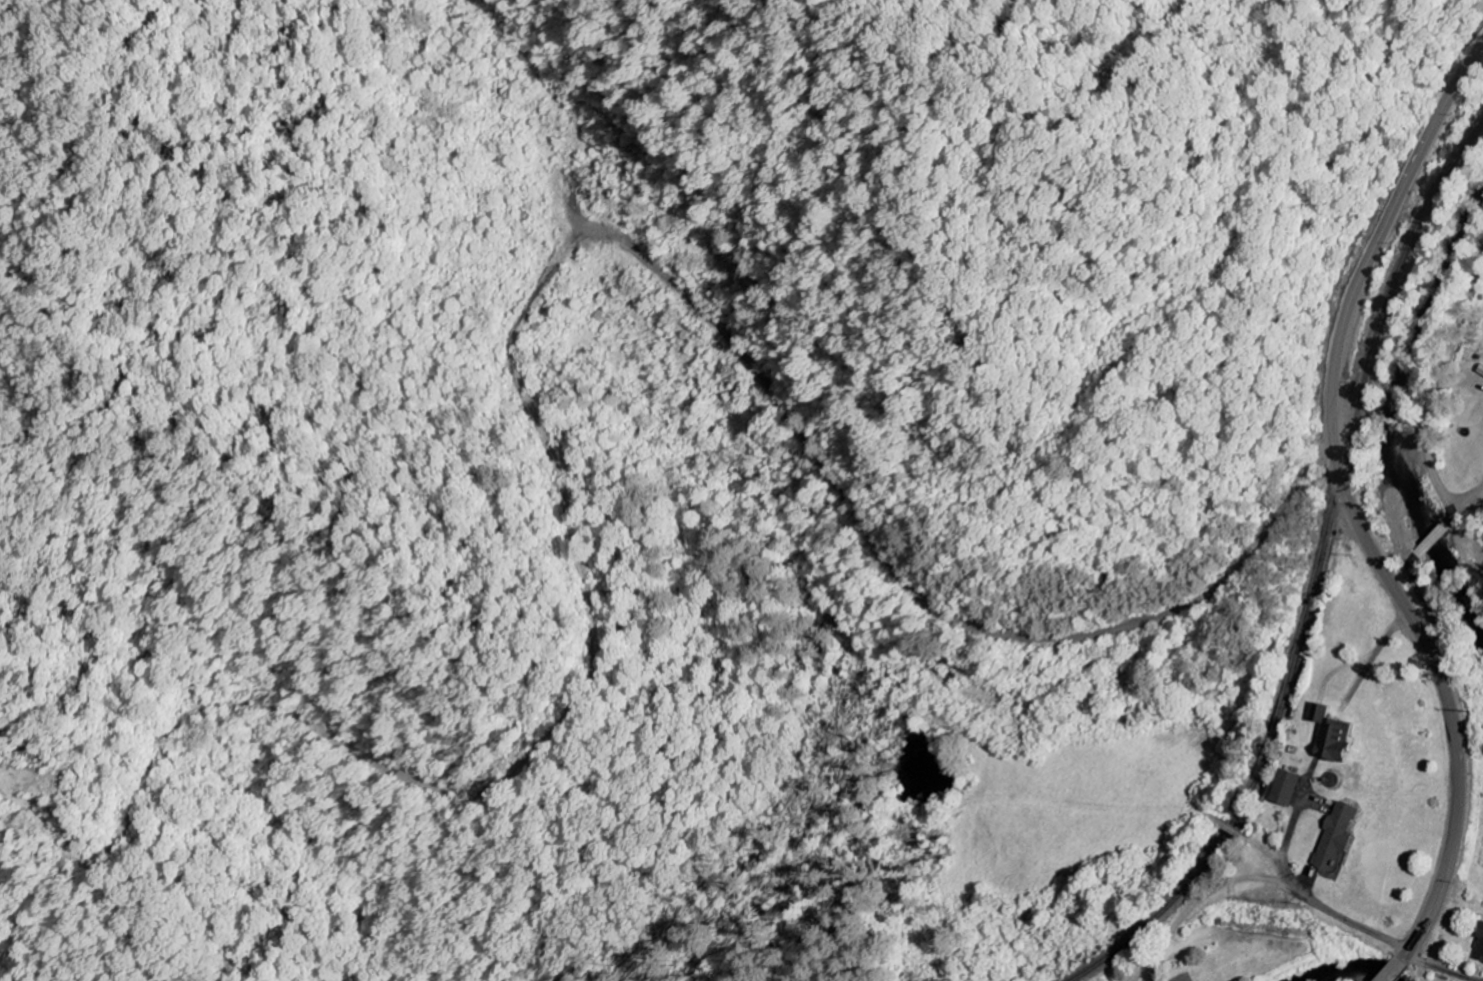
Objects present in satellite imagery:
building: (1481, 372)
road: (1433, 465)
road: (1351, 514)
railway: (1314, 582)
building: (1333, 737)
building: (1287, 789)
building: (1337, 837)
building: (1479, 951)

